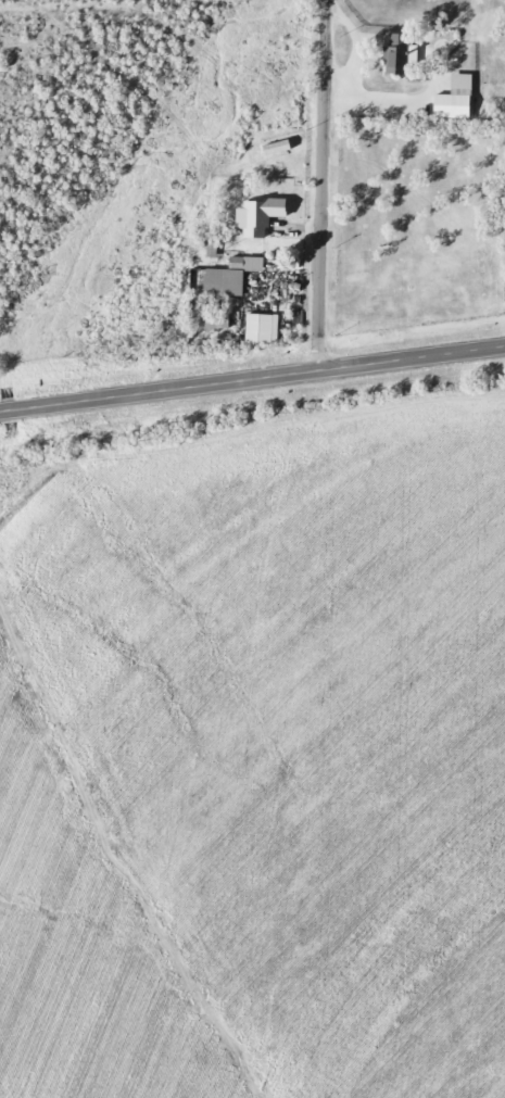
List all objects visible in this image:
building: (392, 61)
building: (447, 106)
road: (320, 186)
building: (251, 220)
building: (217, 282)
building: (213, 321)
building: (256, 328)
road: (252, 380)

